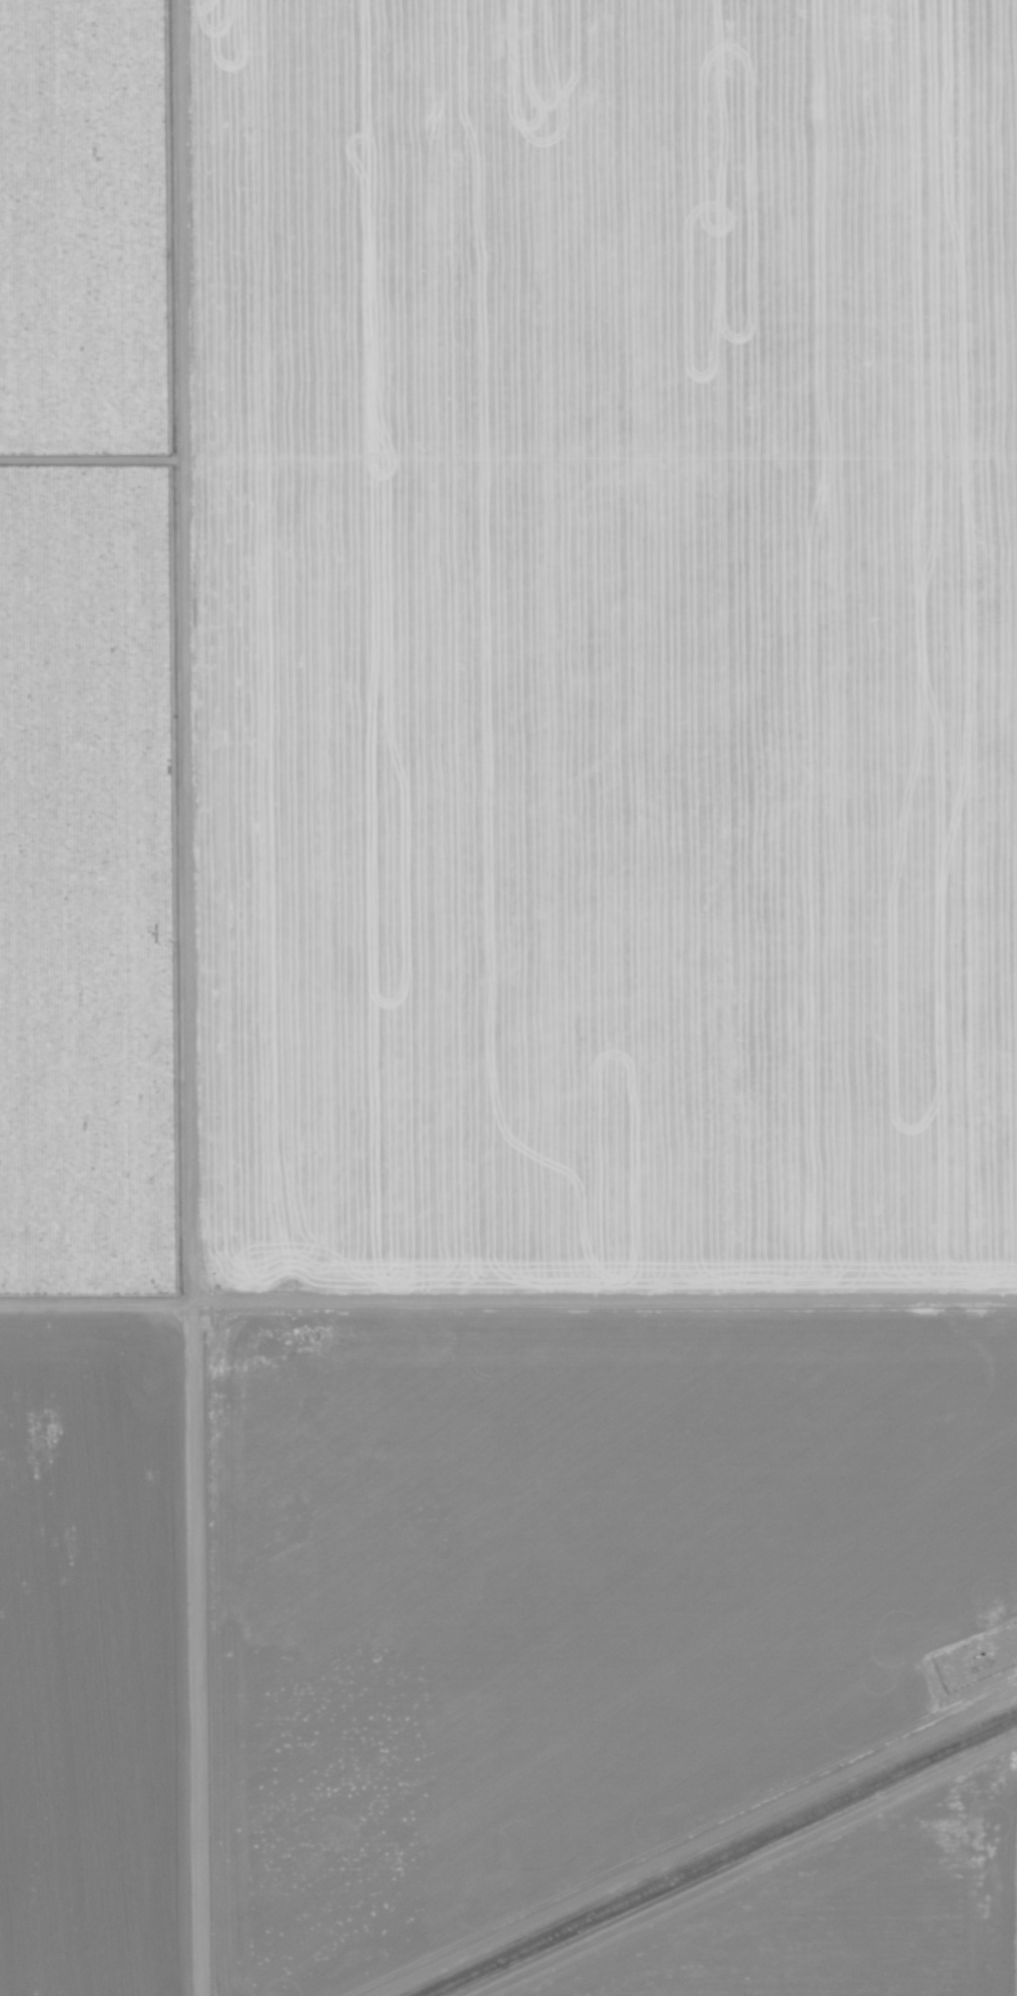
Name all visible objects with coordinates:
road: (184, 638)
crop: (493, 953)
road: (210, 1636)
railway: (711, 1851)
railway: (721, 1856)
railway: (733, 1862)
crop: (851, 1916)

